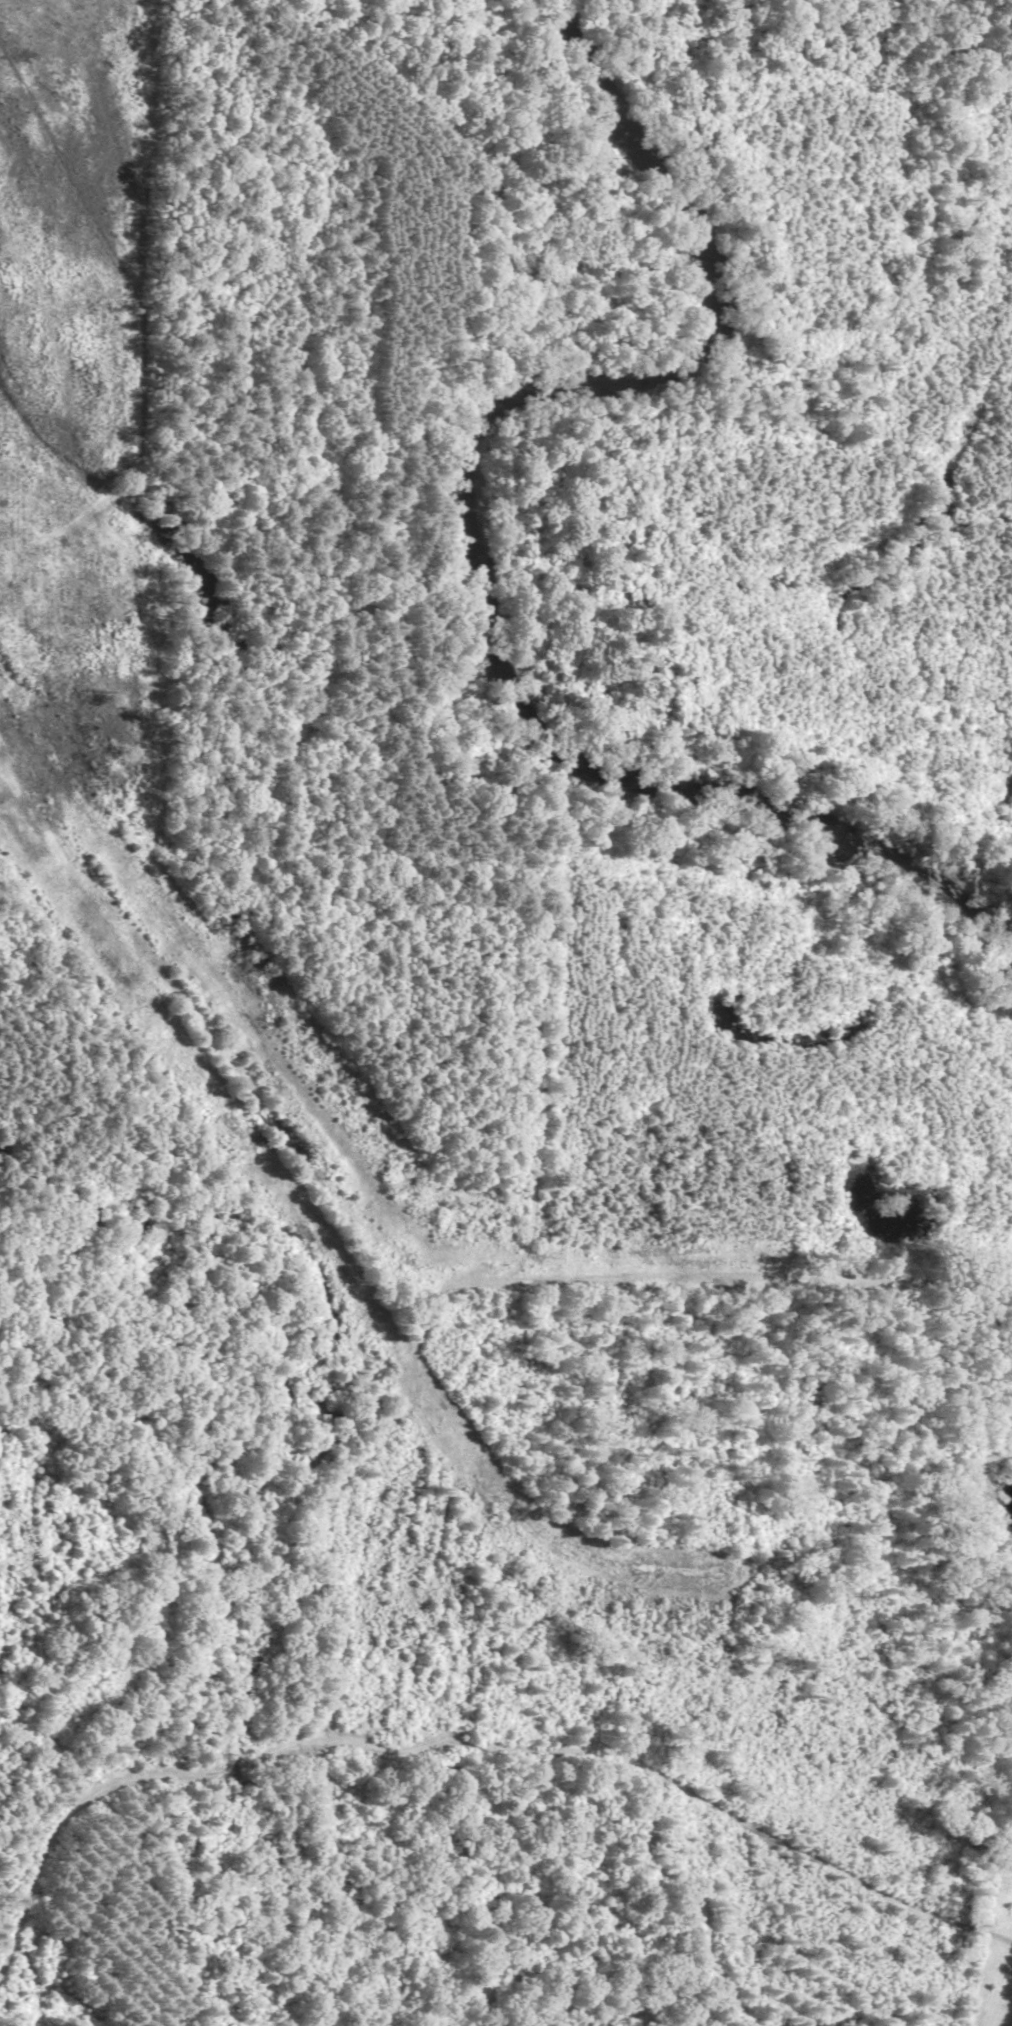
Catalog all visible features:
river: (471, 529)

